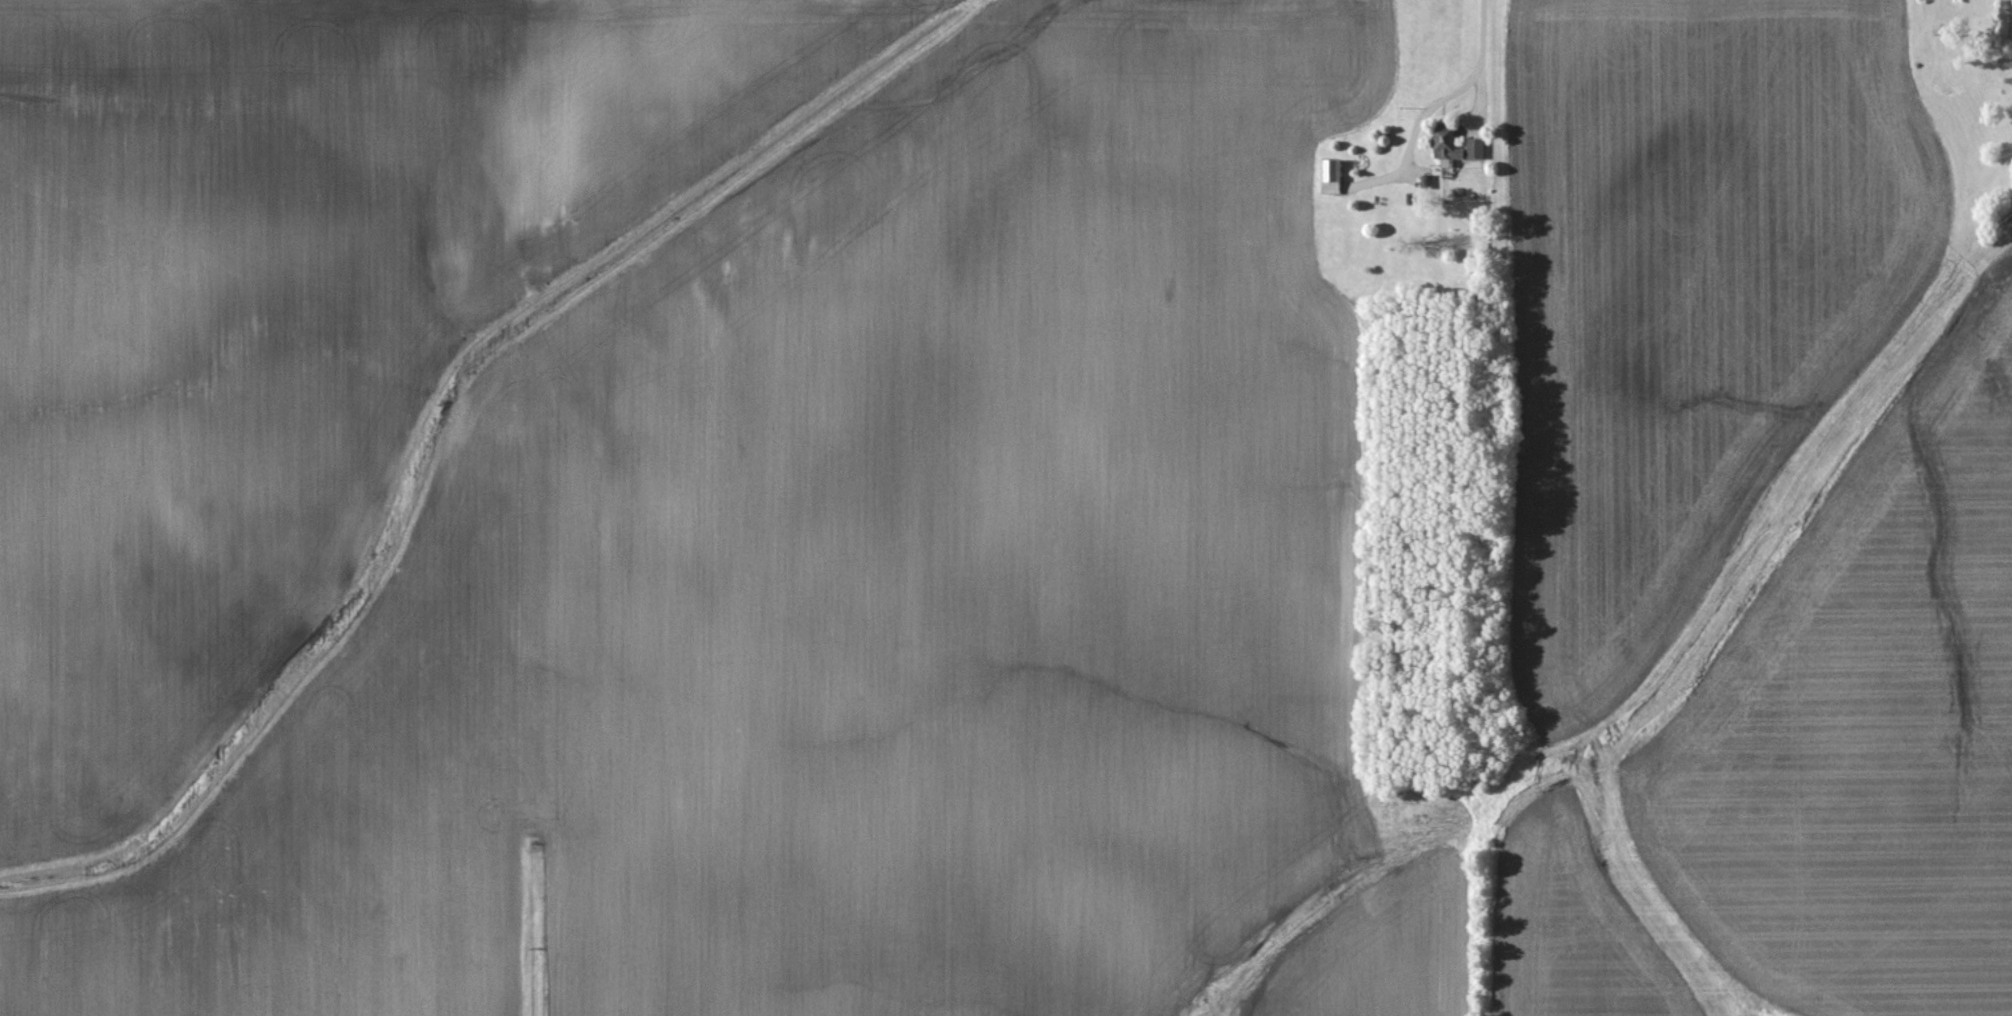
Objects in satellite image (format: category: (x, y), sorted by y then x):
road: (1484, 66)
building: (1444, 145)
building: (1333, 165)

